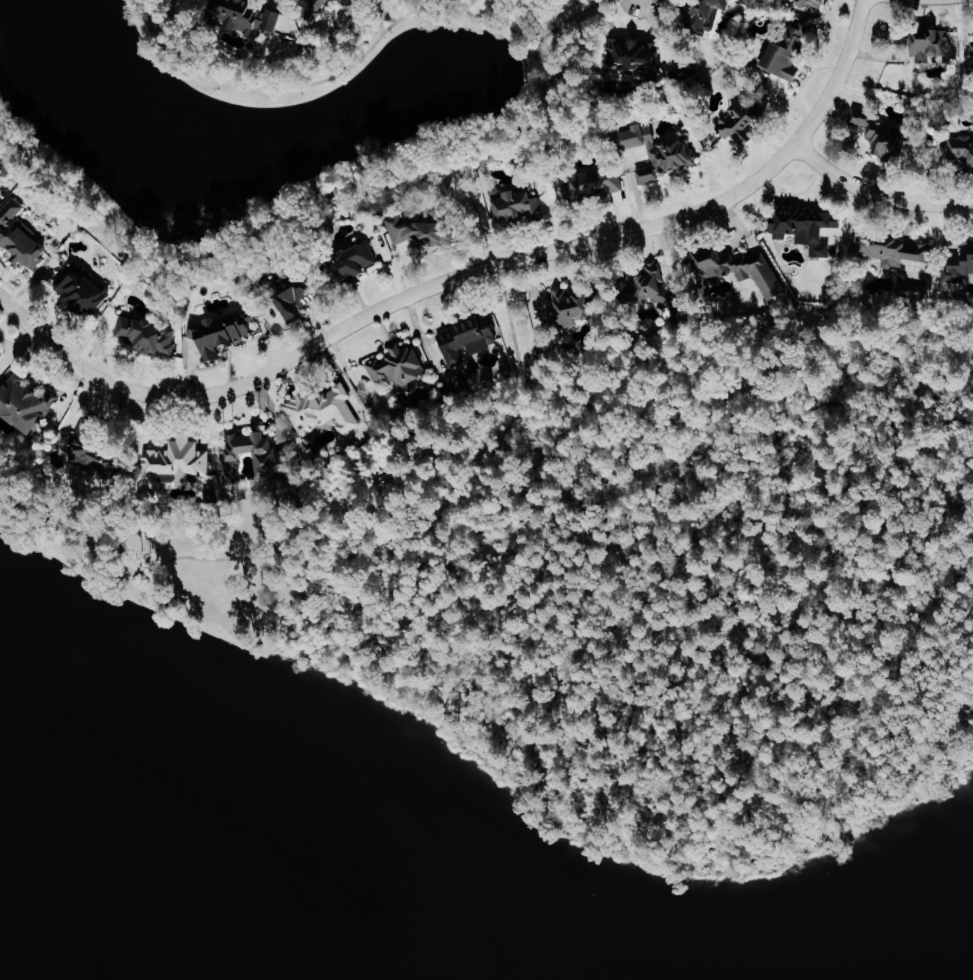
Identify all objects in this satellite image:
building: (813, 3)
building: (707, 13)
building: (320, 15)
road: (387, 15)
building: (248, 16)
road: (379, 17)
road: (568, 18)
building: (895, 36)
building: (932, 46)
building: (972, 46)
building: (790, 50)
building: (639, 58)
building: (741, 124)
road: (499, 134)
building: (881, 134)
building: (962, 148)
building: (660, 151)
building: (593, 186)
road: (878, 194)
building: (1, 195)
building: (417, 223)
building: (19, 237)
building: (898, 252)
road: (492, 255)
building: (347, 261)
building: (959, 265)
building: (737, 270)
road: (464, 274)
building: (78, 291)
building: (662, 293)
building: (291, 296)
building: (571, 306)
building: (221, 330)
building: (141, 335)
building: (463, 341)
building: (4, 359)
building: (394, 363)
building: (0, 375)
building: (18, 403)
building: (317, 409)
road: (466, 423)
building: (80, 449)
building: (233, 450)
building: (174, 459)
building: (277, 461)

